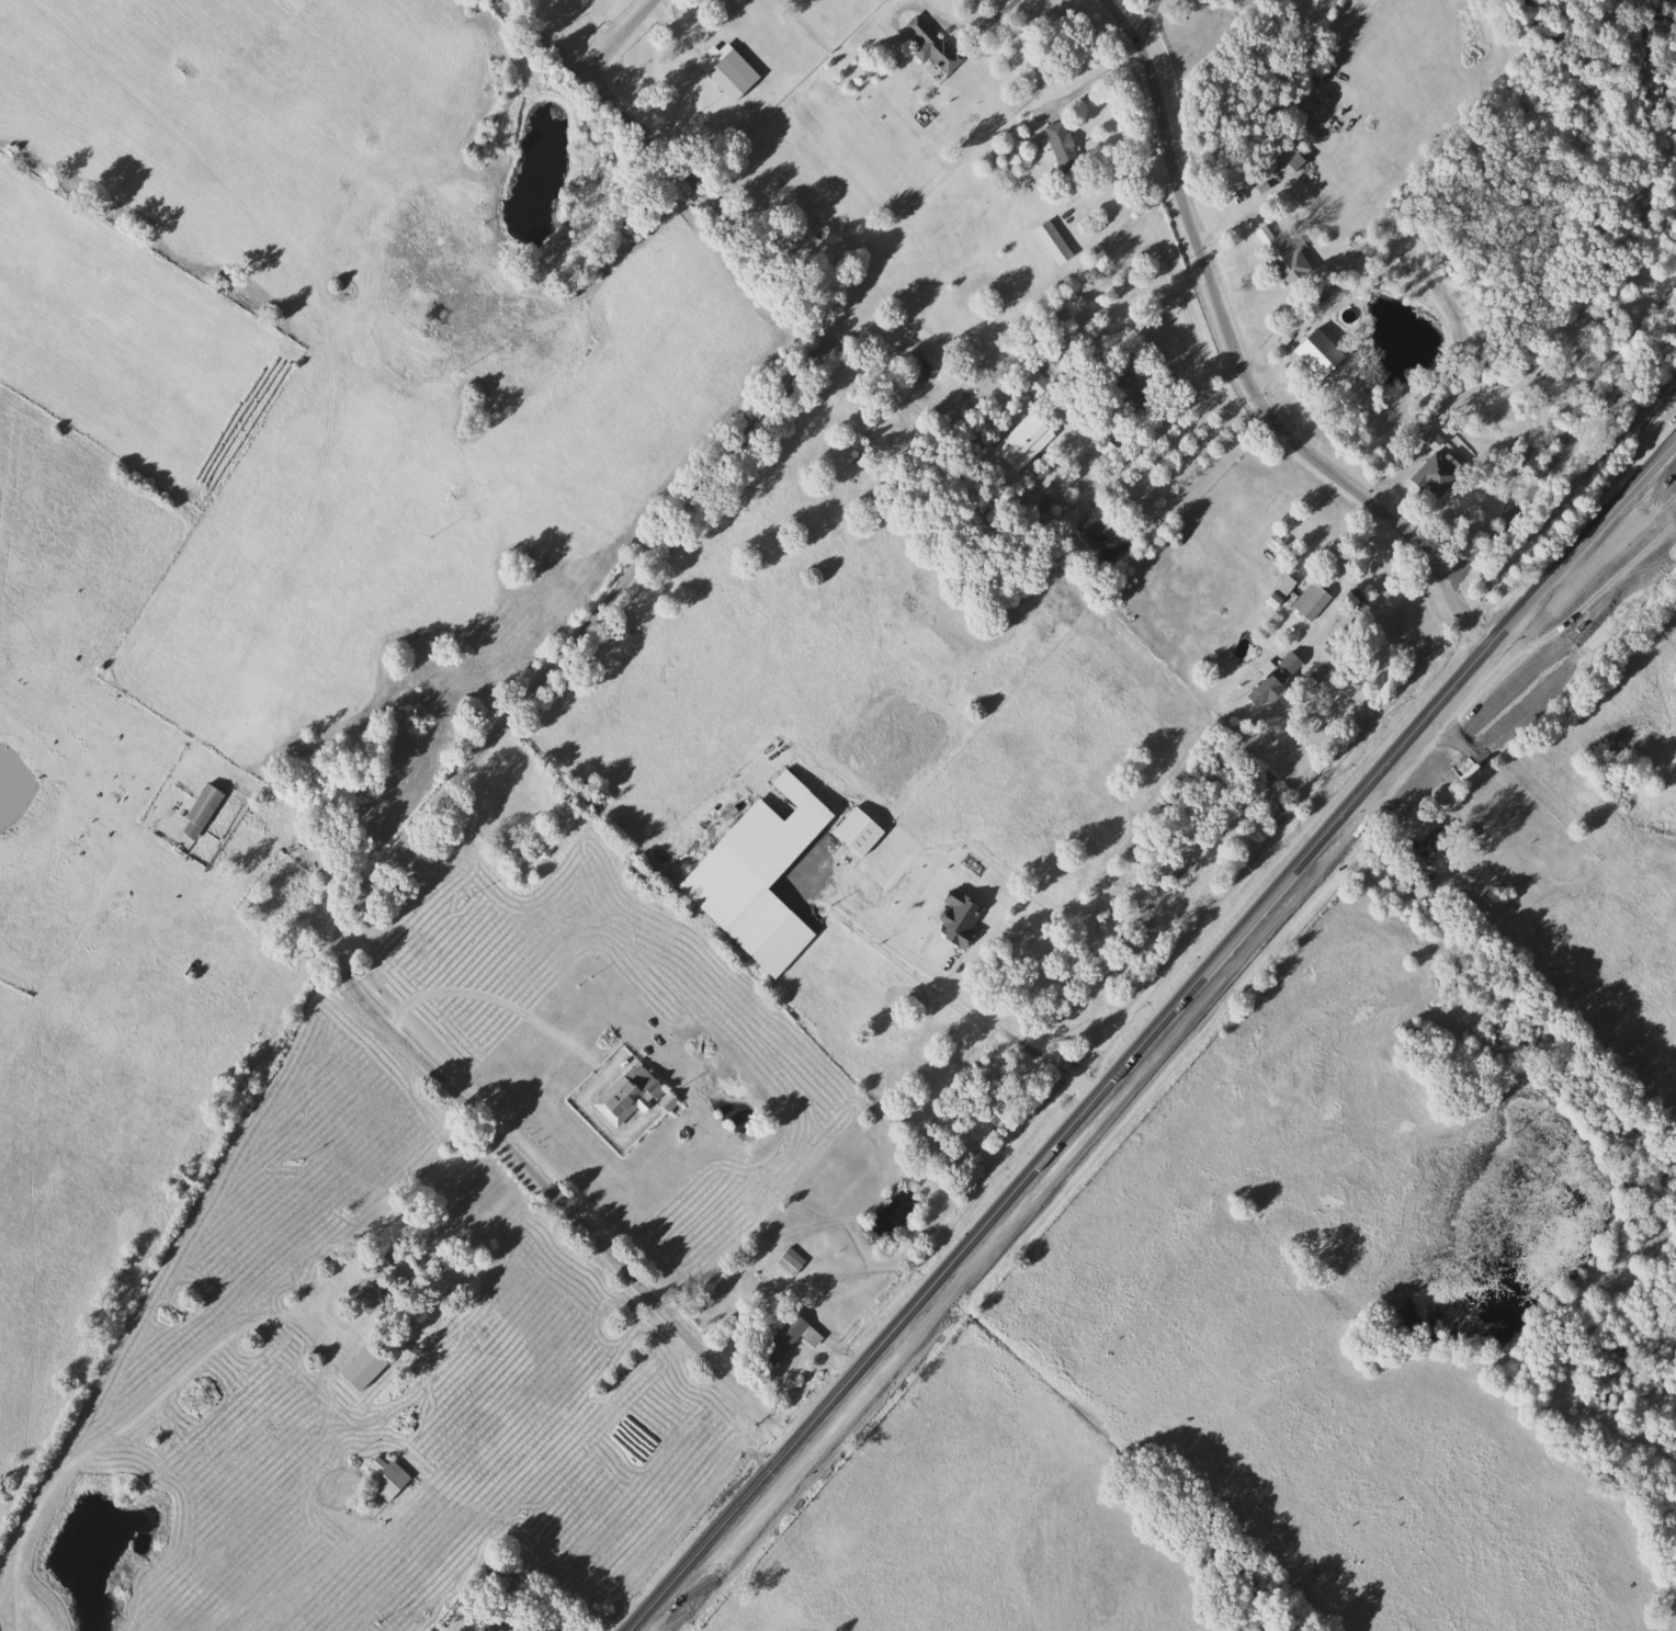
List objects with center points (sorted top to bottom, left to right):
road: (522, 3)
road: (1154, 20)
road: (971, 23)
road: (627, 37)
building: (935, 42)
building: (736, 73)
road: (1101, 77)
building: (1066, 145)
building: (1294, 160)
building: (1055, 242)
building: (1290, 260)
road: (1147, 292)
building: (1058, 355)
road: (1241, 358)
building: (1531, 363)
building: (1130, 393)
building: (1440, 474)
road: (1350, 571)
building: (1281, 597)
building: (1314, 600)
building: (1281, 677)
road: (508, 715)
road: (563, 758)
building: (525, 791)
building: (204, 809)
building: (861, 829)
building: (1439, 843)
building: (762, 874)
building: (962, 916)
road: (956, 992)
road: (495, 1003)
road: (1150, 1037)
building: (630, 1095)
road: (433, 1167)
building: (791, 1260)
building: (791, 1337)
road: (835, 1361)
building: (389, 1477)
road: (550, 1604)
building: (497, 1626)

